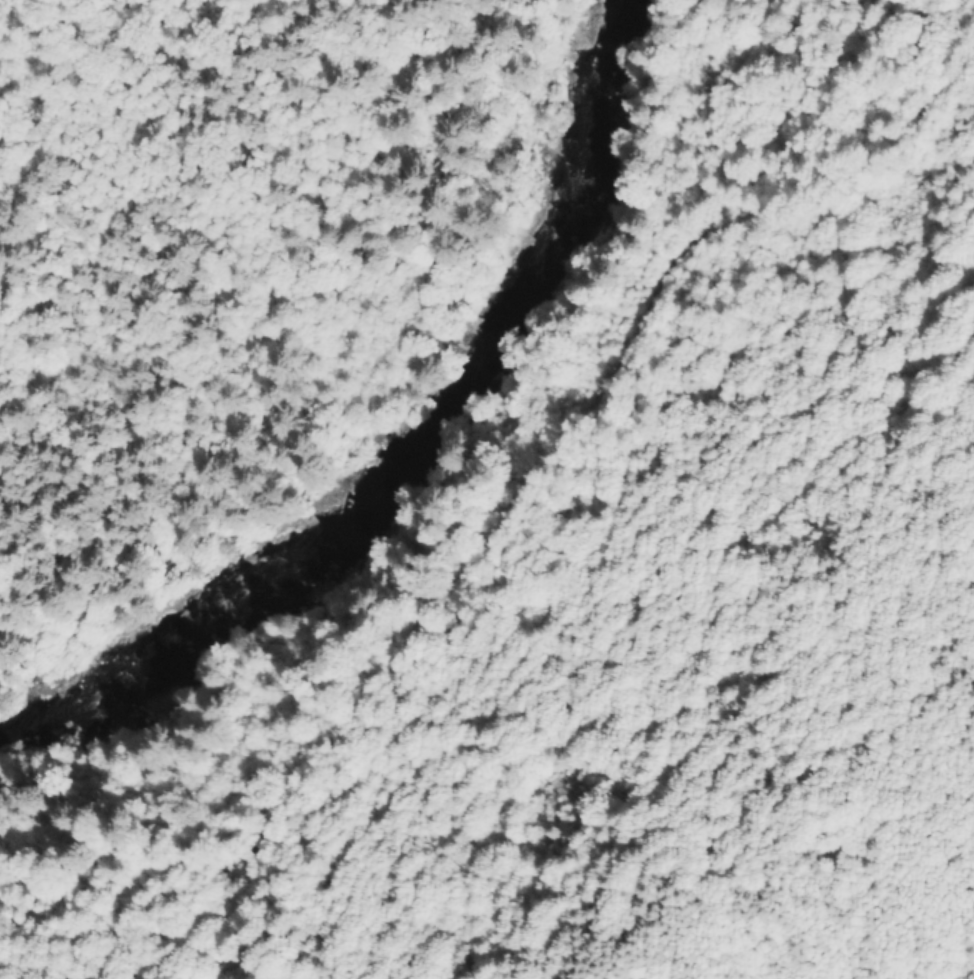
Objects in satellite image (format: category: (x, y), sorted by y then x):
river: (432, 475)

